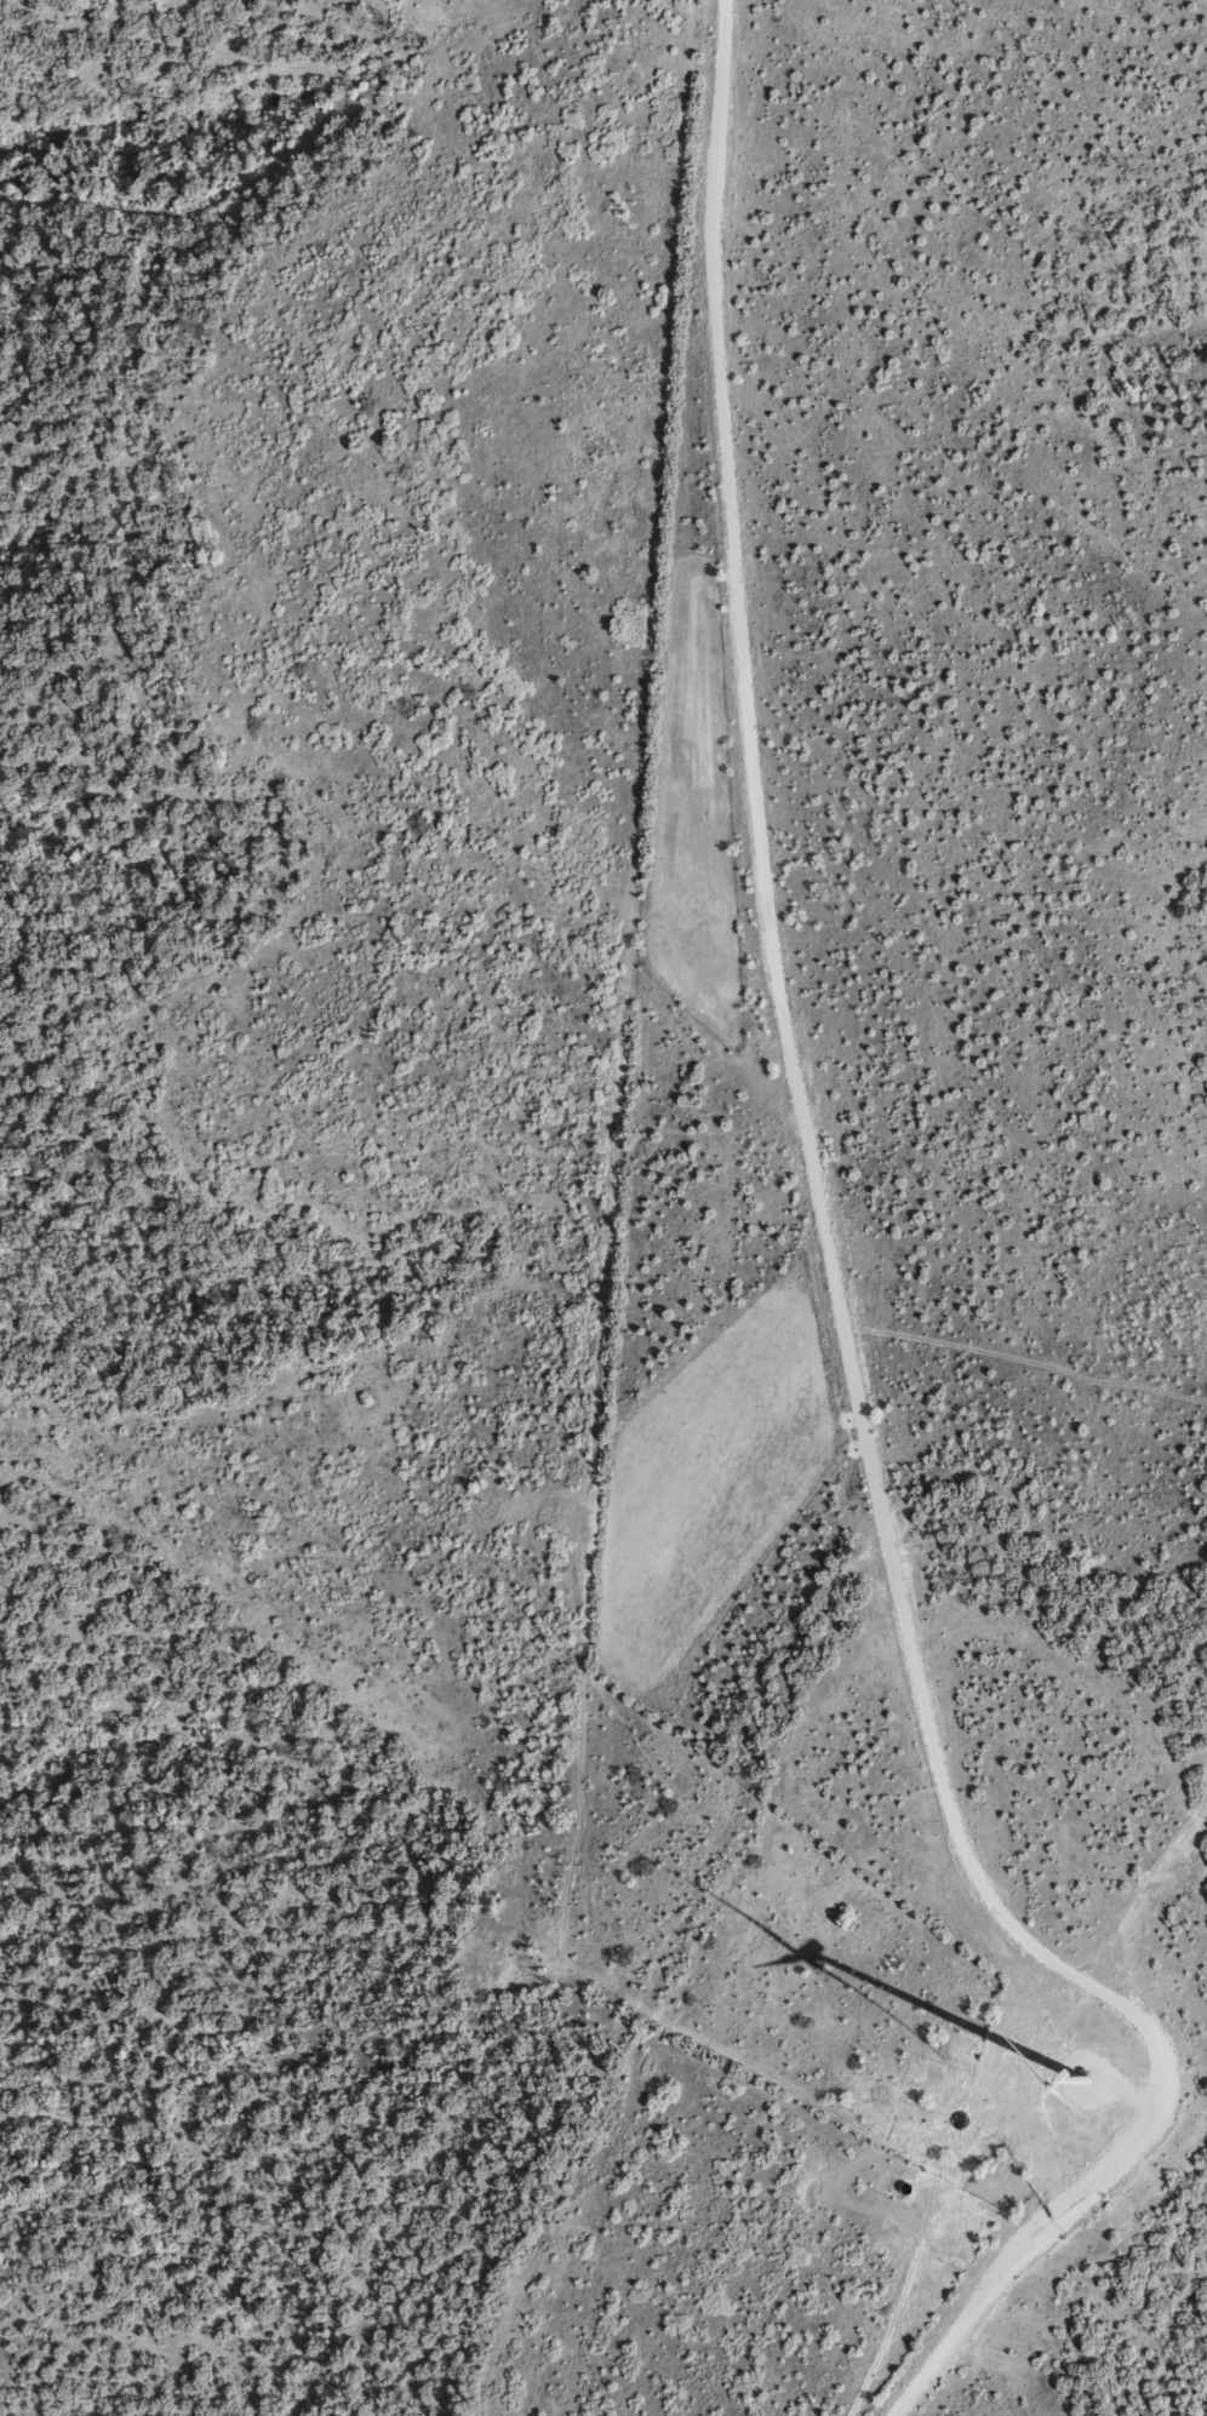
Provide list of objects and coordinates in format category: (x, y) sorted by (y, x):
road: (842, 1303)
wind turbine: (1083, 2080)

